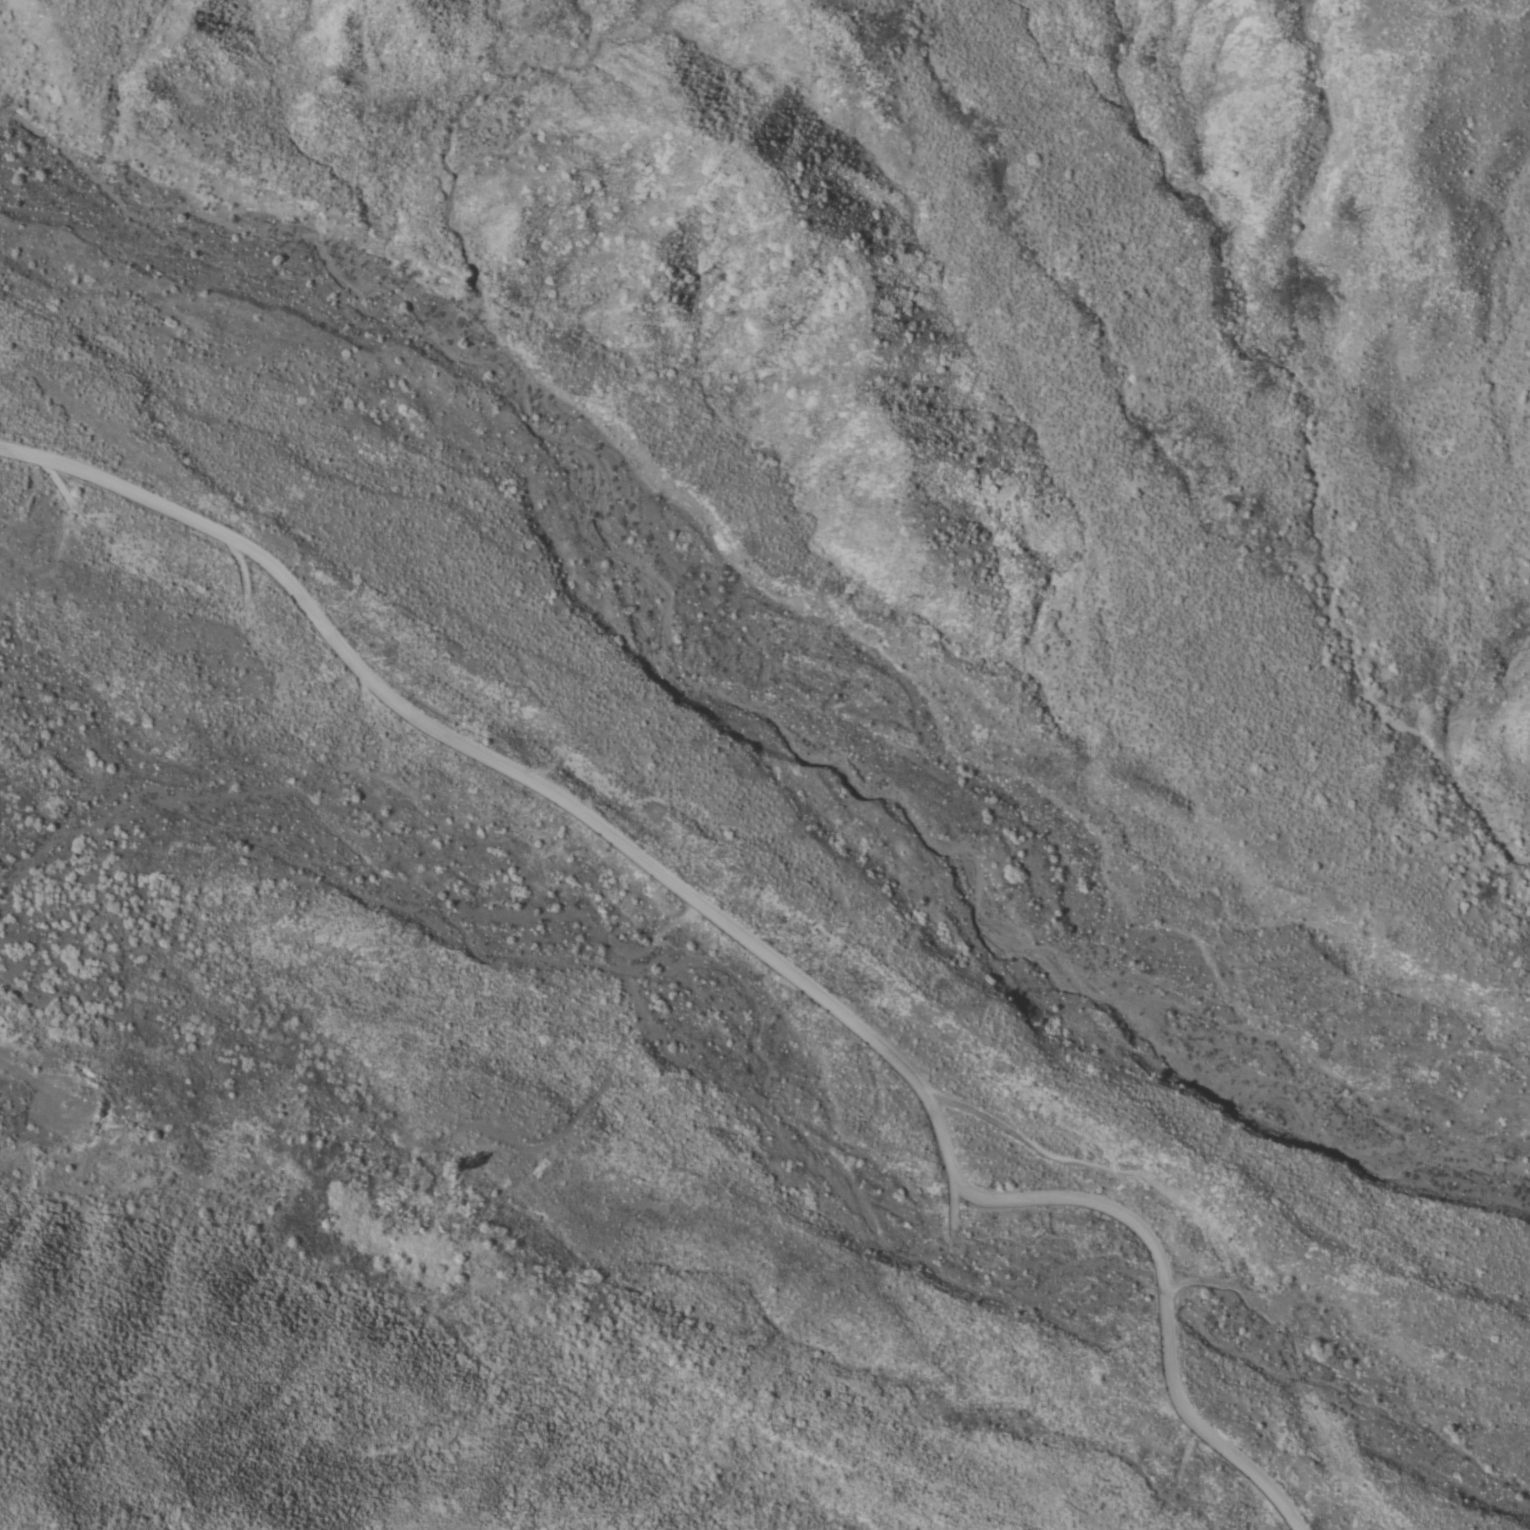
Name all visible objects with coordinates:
road: (1472, 6)
road: (737, 931)
road: (21, 1072)
road: (609, 1072)
road: (71, 1117)

